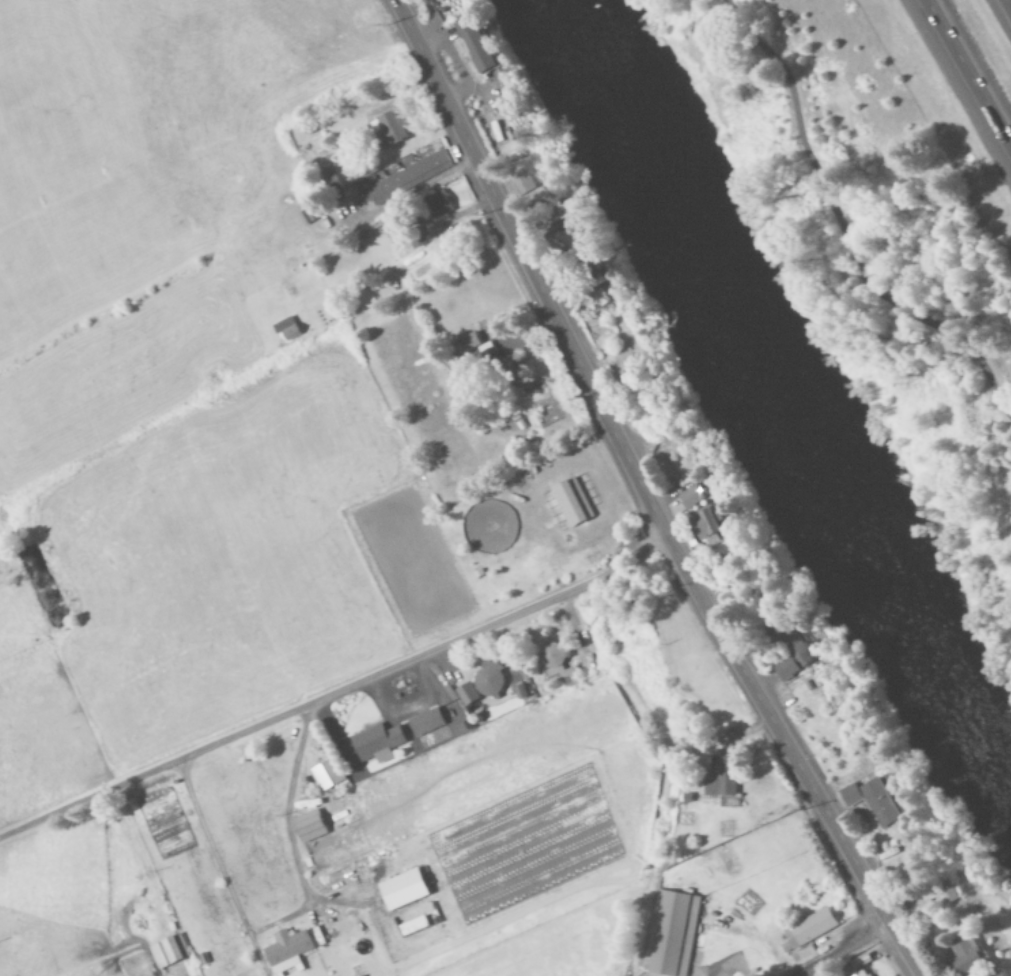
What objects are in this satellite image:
road: (1009, 3)
building: (478, 46)
road: (972, 67)
building: (393, 128)
building: (407, 179)
building: (530, 196)
building: (441, 205)
building: (569, 210)
road: (844, 228)
river: (767, 401)
road: (650, 491)
building: (689, 497)
building: (569, 502)
building: (702, 524)
building: (791, 655)
building: (553, 661)
building: (491, 679)
building: (469, 695)
building: (427, 722)
building: (379, 743)
building: (329, 775)
building: (720, 779)
building: (872, 801)
building: (311, 826)
building: (407, 890)
building: (946, 892)
building: (806, 931)
building: (669, 934)
building: (169, 952)
building: (289, 952)
road: (852, 953)
building: (963, 956)
building: (859, 974)
building: (997, 974)

